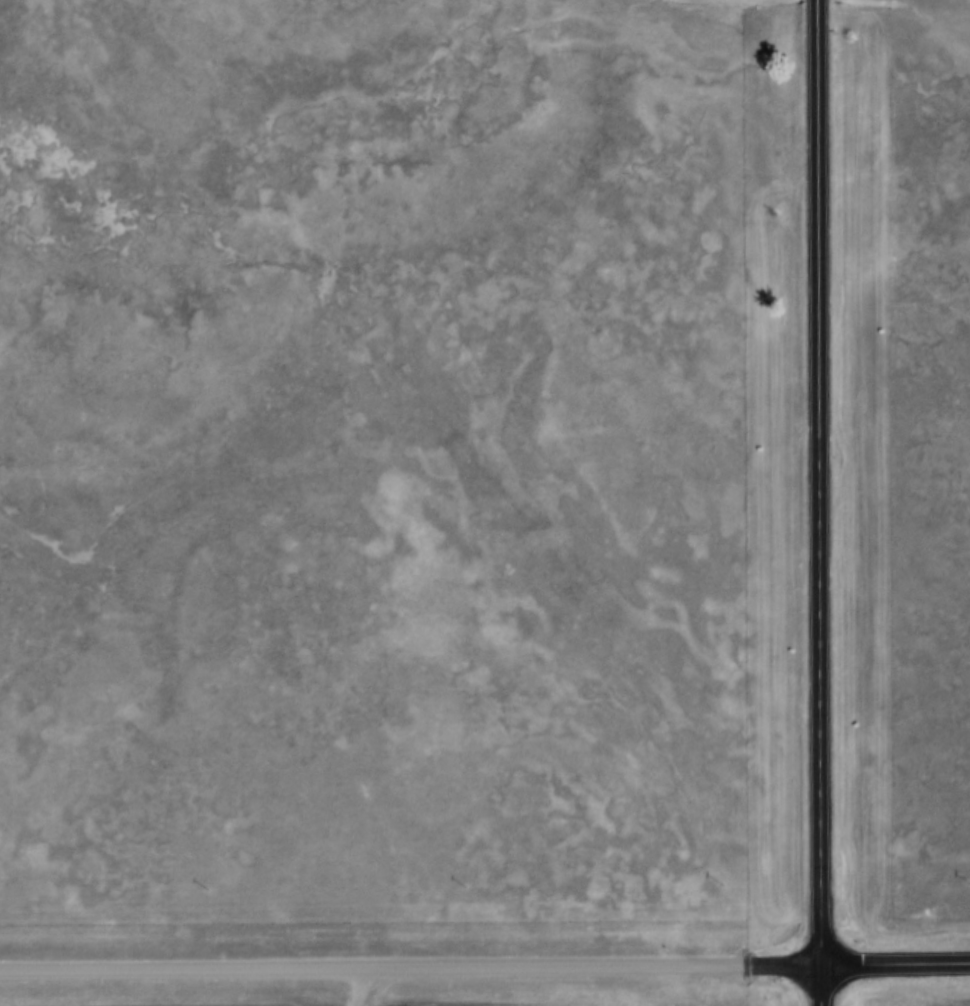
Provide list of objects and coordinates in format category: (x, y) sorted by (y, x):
road: (816, 502)
road: (893, 969)
road: (408, 970)

